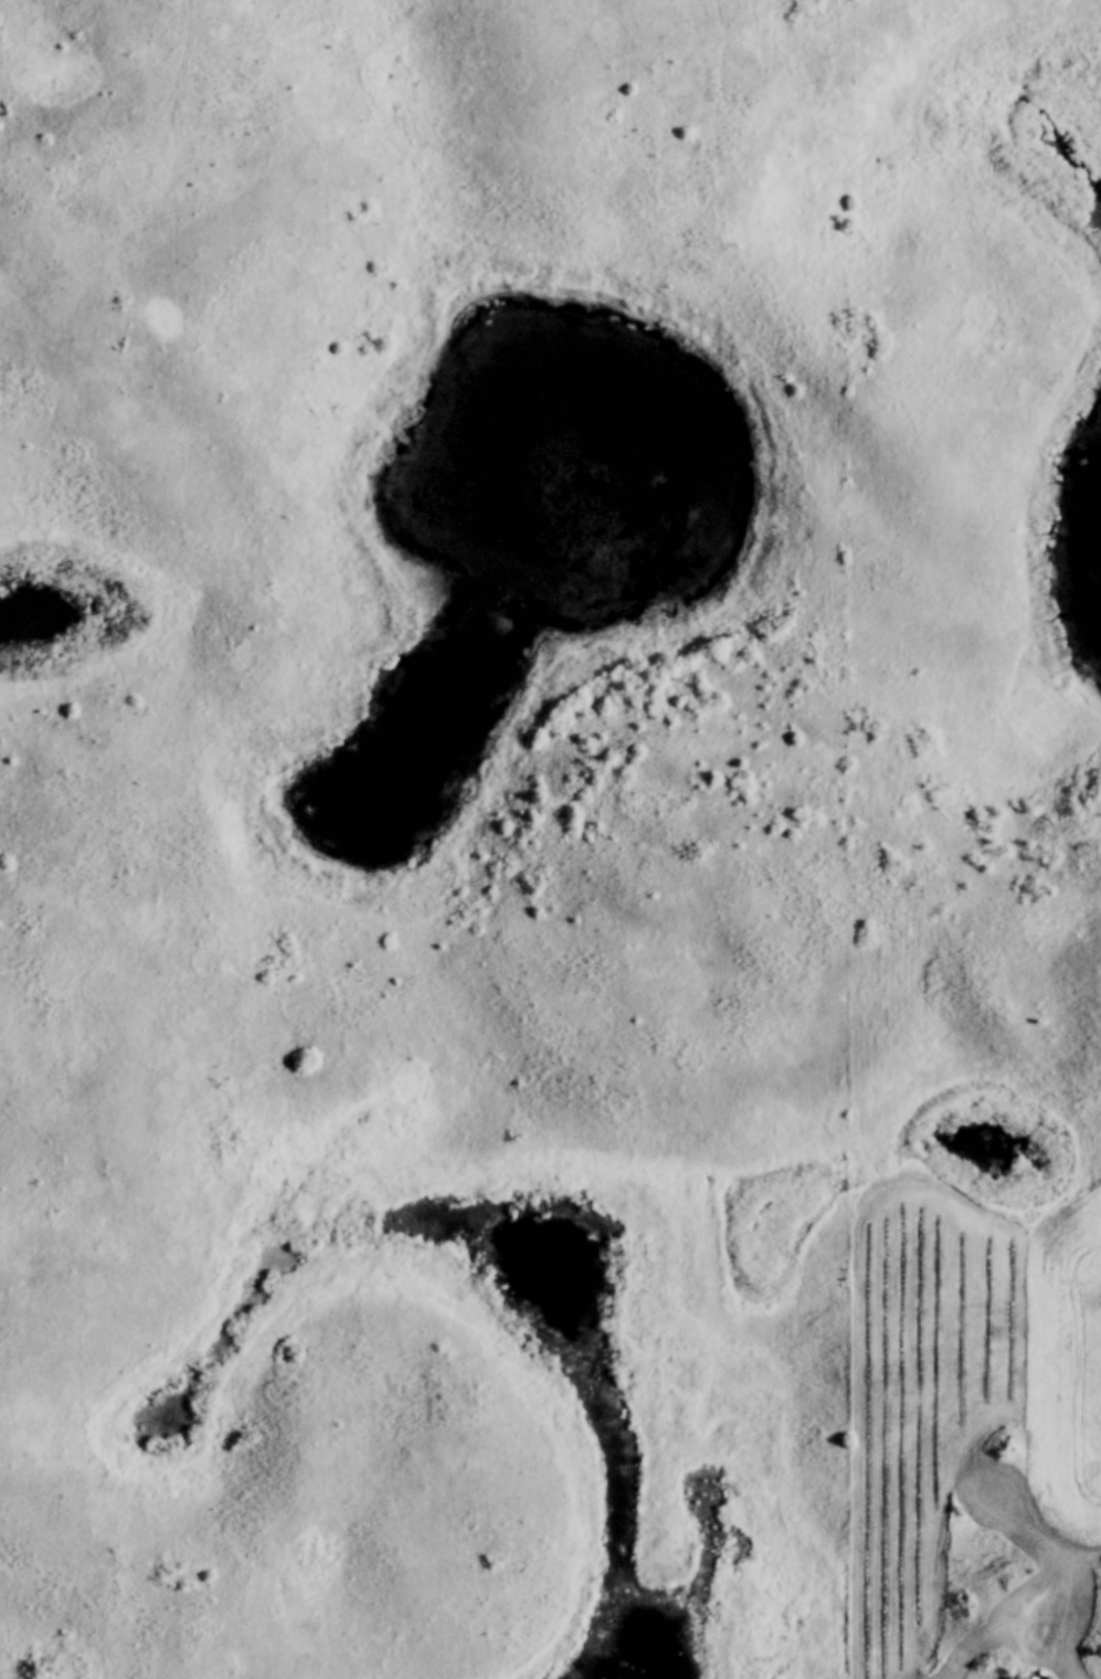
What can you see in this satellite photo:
building: (1030, 1678)

